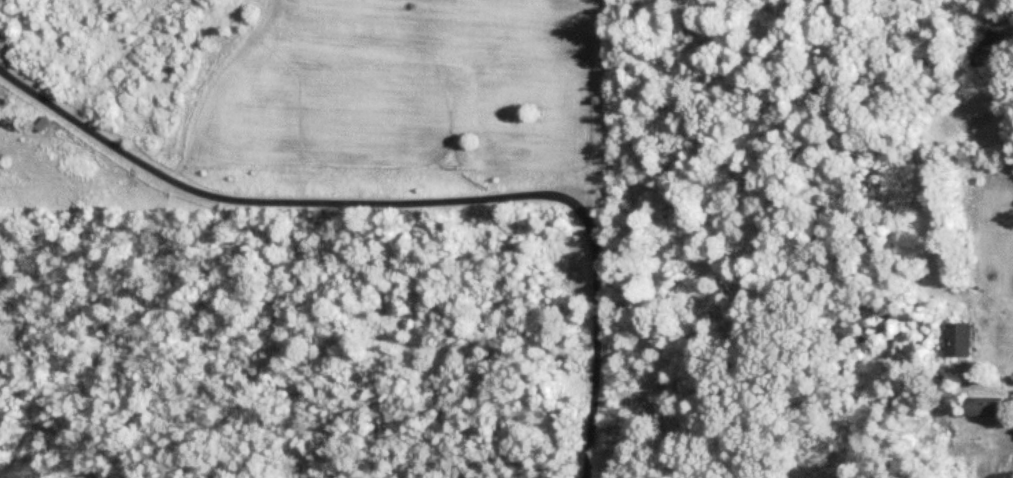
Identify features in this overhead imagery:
road: (410, 200)
building: (961, 341)
building: (984, 409)

